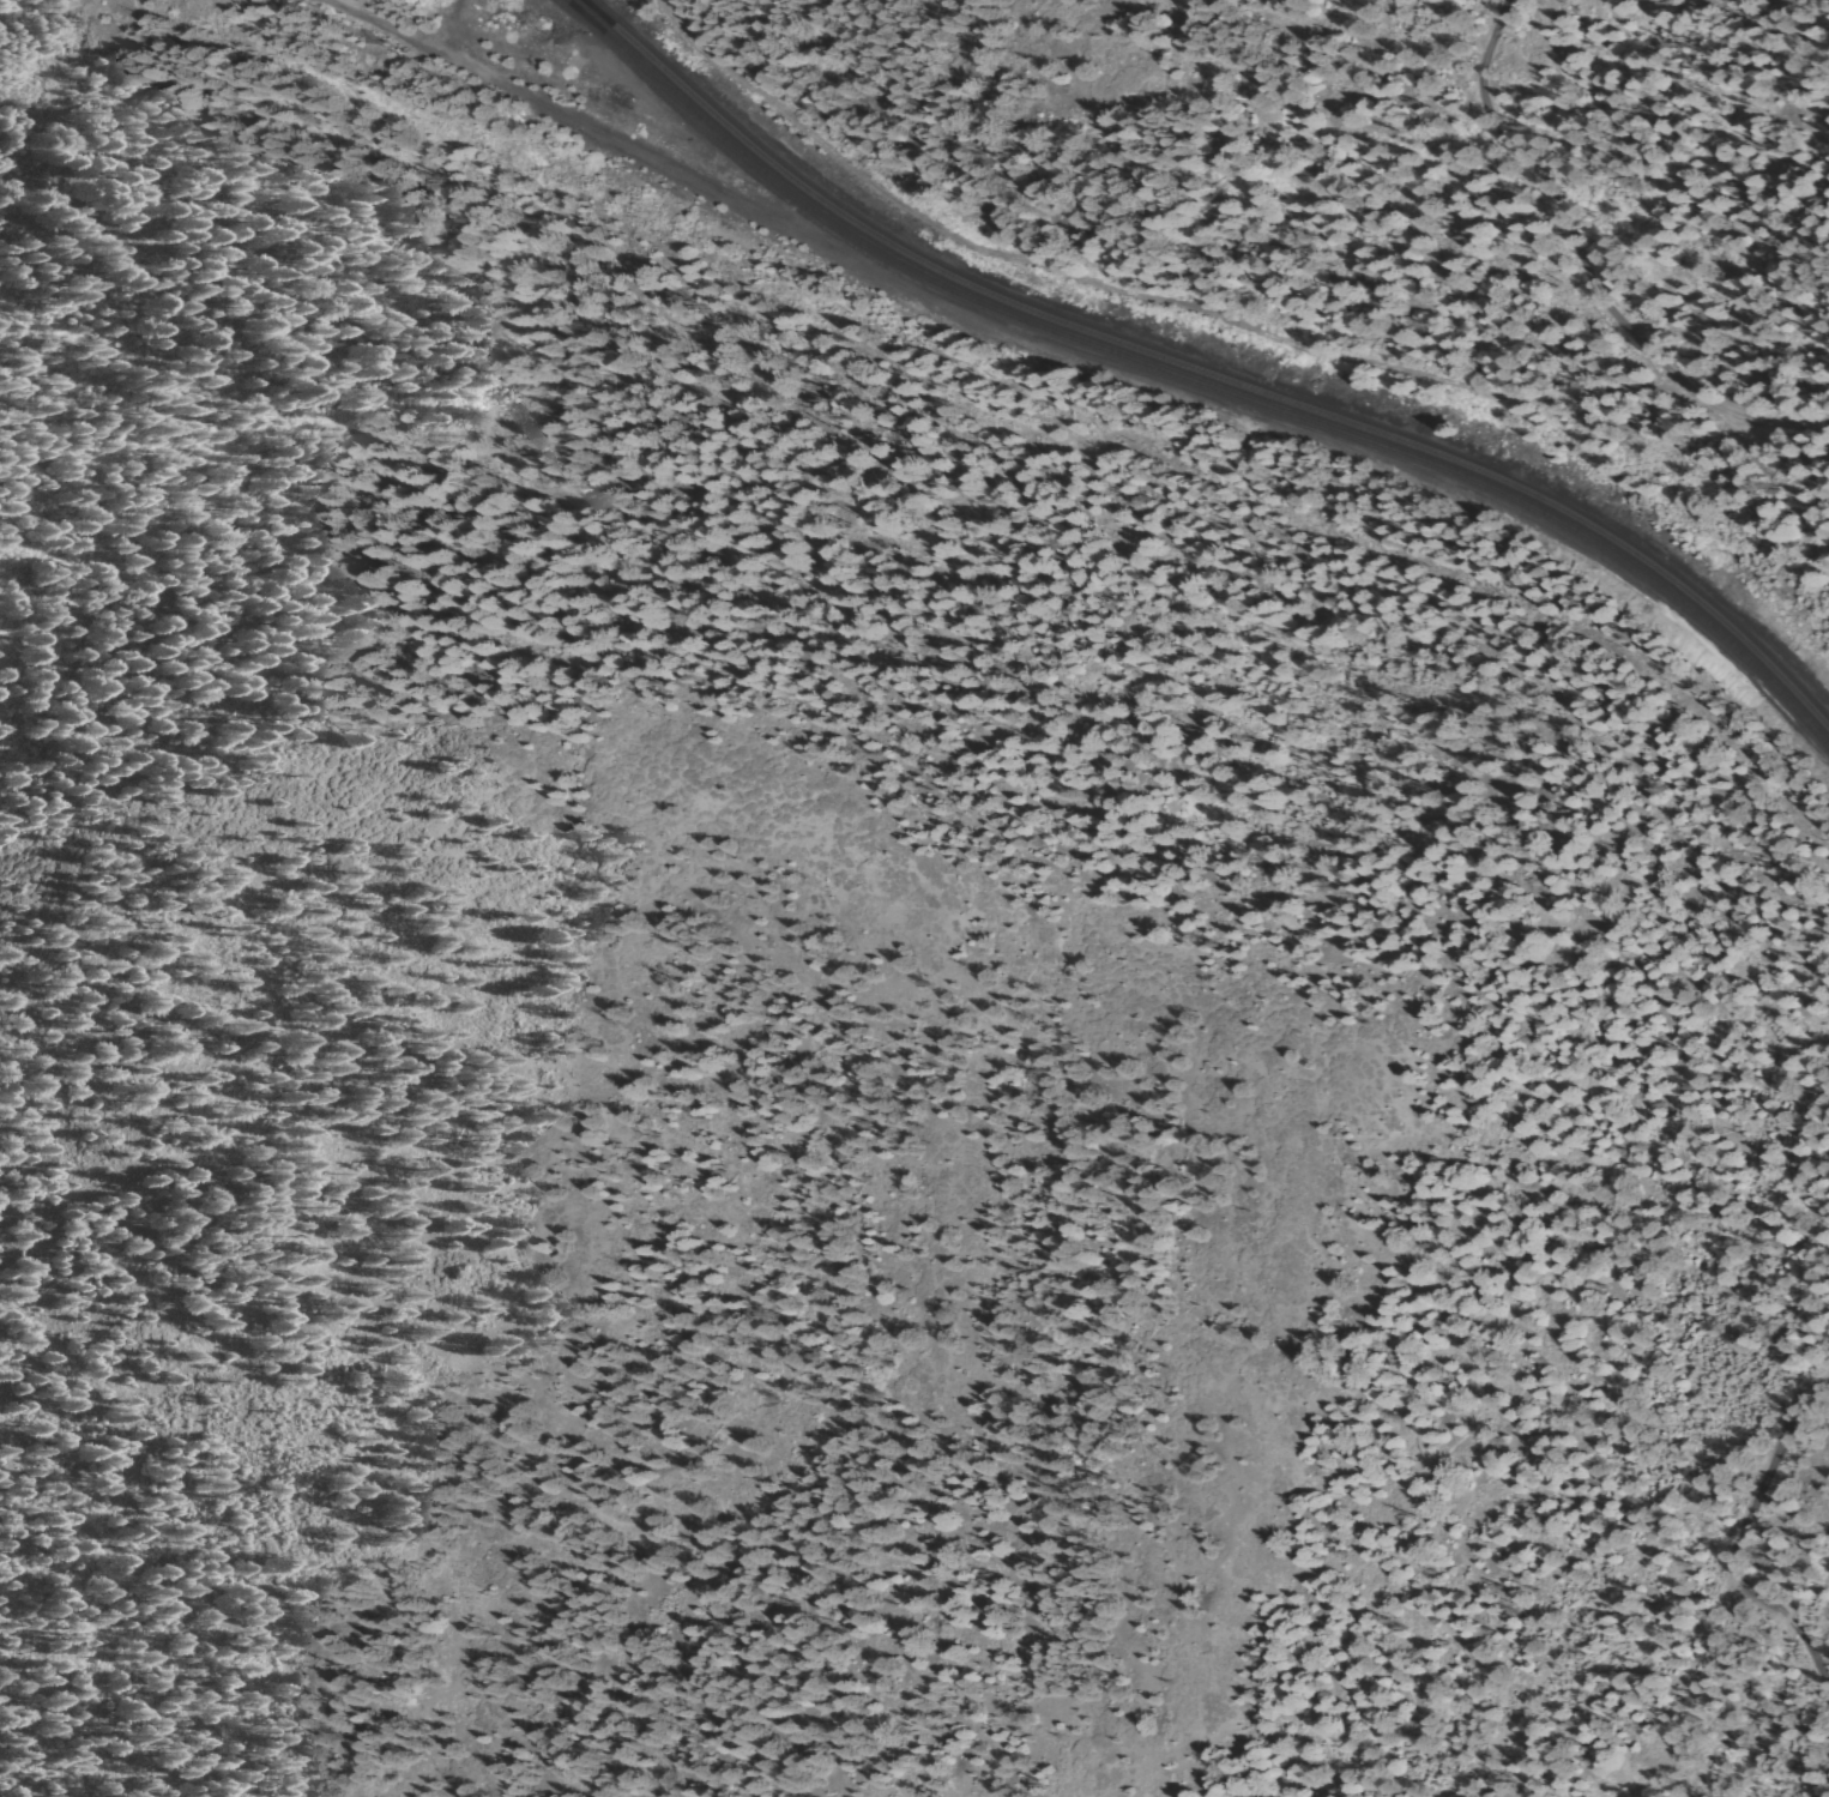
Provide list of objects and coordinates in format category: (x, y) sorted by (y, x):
road: (1584, 270)
road: (1129, 293)
railway: (1203, 373)
railway: (1195, 381)
road: (1742, 1534)

